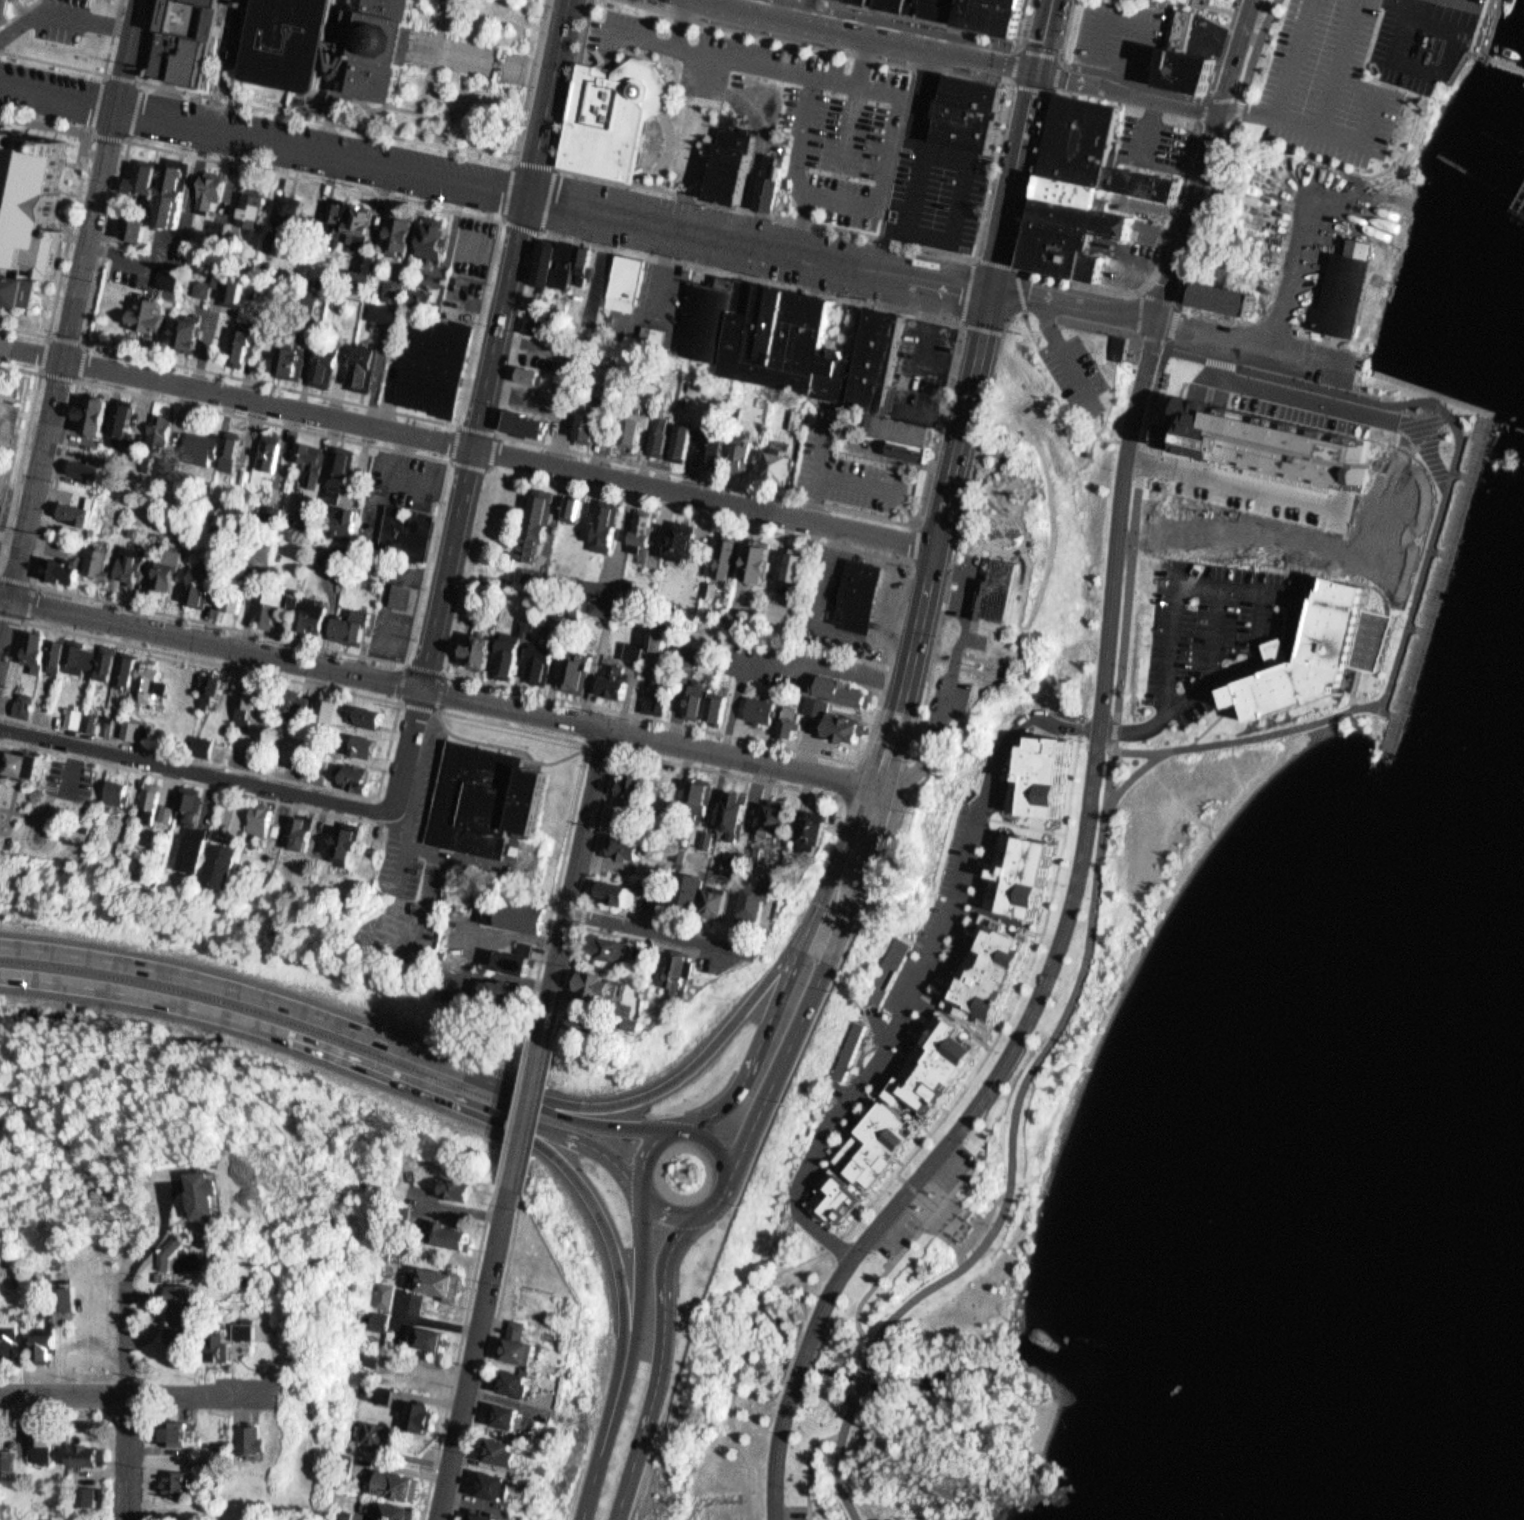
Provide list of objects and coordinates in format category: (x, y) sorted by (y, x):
building: (871, 0)
road: (733, 2)
building: (901, 2)
building: (943, 6)
road: (1214, 7)
building: (6, 11)
building: (1000, 13)
road: (952, 23)
road: (1068, 29)
road: (1399, 30)
road: (877, 35)
building: (188, 40)
building: (295, 41)
parking lot: (1425, 41)
road: (1022, 44)
building: (392, 45)
road: (1014, 47)
road: (1223, 51)
road: (1254, 54)
road: (484, 59)
building: (1188, 60)
pier: (1503, 61)
road: (88, 69)
road: (432, 70)
traffic signals: (1039, 71)
parking lot: (1326, 85)
road: (1033, 86)
road: (1285, 90)
road: (1127, 91)
road: (386, 104)
building: (614, 111)
building: (972, 112)
road: (1205, 112)
road: (366, 129)
building: (1083, 139)
road: (127, 140)
road: (1202, 158)
building: (734, 162)
building: (136, 172)
road: (1038, 175)
building: (146, 179)
building: (769, 180)
building: (205, 183)
building: (1147, 185)
road: (496, 188)
building: (1075, 188)
building: (164, 189)
building: (213, 190)
building: (176, 195)
building: (246, 199)
building: (35, 201)
building: (254, 206)
building: (282, 206)
road: (73, 213)
building: (331, 215)
building: (350, 215)
building: (1089, 216)
building: (129, 223)
building: (361, 226)
road: (539, 228)
building: (397, 236)
building: (433, 236)
building: (1068, 250)
road: (959, 253)
building: (547, 264)
building: (576, 267)
road: (1293, 270)
building: (354, 271)
building: (162, 272)
building: (170, 279)
building: (224, 281)
building: (625, 282)
building: (198, 284)
building: (20, 289)
building: (392, 291)
building: (1347, 293)
building: (1227, 296)
road: (72, 298)
road: (1076, 302)
building: (382, 308)
road: (1140, 310)
building: (140, 311)
building: (712, 314)
road: (961, 319)
road: (960, 323)
building: (180, 326)
building: (535, 326)
building: (190, 333)
building: (235, 335)
building: (782, 335)
building: (653, 340)
road: (1252, 340)
road: (496, 343)
building: (243, 347)
road: (1058, 347)
building: (1120, 347)
building: (284, 354)
building: (318, 359)
building: (358, 359)
building: (879, 359)
parking lot: (1071, 362)
building: (435, 365)
building: (366, 367)
road: (1241, 367)
building: (837, 370)
road: (1049, 371)
building: (531, 373)
road: (78, 379)
road: (970, 394)
road: (1276, 396)
building: (89, 407)
road: (1092, 415)
building: (580, 416)
building: (115, 419)
building: (525, 421)
building: (592, 421)
building: (626, 421)
building: (124, 423)
road: (458, 423)
building: (153, 425)
building: (639, 427)
building: (657, 427)
building: (908, 430)
building: (677, 434)
building: (664, 436)
building: (707, 439)
building: (197, 440)
building: (685, 440)
road: (23, 442)
building: (224, 444)
road: (468, 445)
building: (718, 447)
building: (734, 449)
building: (263, 450)
building: (913, 451)
building: (231, 452)
building: (306, 456)
building: (336, 459)
building: (770, 461)
building: (81, 463)
building: (783, 465)
road: (487, 467)
building: (167, 468)
road: (1232, 481)
road: (1450, 482)
building: (287, 483)
building: (69, 505)
road: (1050, 507)
building: (571, 508)
road: (1004, 508)
building: (606, 518)
building: (341, 520)
building: (536, 524)
building: (401, 526)
building: (642, 530)
building: (686, 538)
road: (913, 541)
road: (993, 547)
building: (125, 557)
building: (728, 557)
building: (90, 558)
building: (335, 560)
road: (909, 560)
building: (163, 562)
building: (761, 562)
building: (53, 564)
building: (798, 573)
building: (557, 578)
building: (193, 581)
building: (629, 583)
building: (396, 589)
building: (601, 589)
building: (710, 589)
building: (1007, 589)
building: (860, 593)
building: (403, 594)
building: (226, 596)
road: (28, 598)
building: (235, 600)
building: (605, 607)
building: (261, 609)
building: (272, 612)
building: (303, 612)
building: (782, 615)
road: (4, 618)
building: (345, 623)
building: (736, 623)
parking lot: (1230, 631)
building: (656, 638)
road: (209, 640)
building: (29, 648)
building: (512, 649)
building: (482, 650)
building: (49, 651)
building: (633, 651)
building: (1330, 651)
building: (71, 654)
building: (57, 656)
building: (98, 659)
building: (542, 660)
road: (405, 662)
building: (119, 666)
building: (579, 671)
building: (1159, 678)
building: (141, 679)
building: (614, 681)
building: (205, 686)
building: (215, 687)
building: (843, 691)
building: (656, 697)
building: (698, 698)
building: (241, 699)
building: (289, 699)
building: (18, 700)
road: (398, 701)
building: (25, 705)
building: (250, 706)
building: (818, 706)
building: (322, 707)
building: (719, 708)
road: (435, 709)
building: (762, 710)
building: (66, 712)
building: (362, 712)
building: (376, 714)
building: (83, 717)
building: (103, 721)
building: (93, 722)
building: (790, 723)
road: (2, 724)
building: (125, 726)
building: (846, 727)
building: (110, 728)
road: (1149, 728)
building: (136, 729)
road: (649, 737)
road: (1256, 738)
building: (197, 739)
building: (353, 740)
building: (366, 746)
road: (604, 746)
road: (407, 748)
building: (13, 761)
road: (1110, 767)
road: (196, 769)
building: (350, 773)
road: (1133, 778)
road: (849, 779)
road: (187, 780)
building: (108, 788)
building: (640, 791)
building: (122, 792)
road: (610, 798)
building: (701, 798)
building: (143, 799)
building: (492, 801)
road: (876, 802)
road: (376, 808)
building: (160, 809)
building: (738, 813)
road: (573, 814)
building: (255, 815)
building: (779, 818)
building: (267, 821)
building: (625, 822)
building: (186, 825)
building: (294, 829)
building: (199, 831)
building: (309, 833)
building: (816, 836)
building: (337, 839)
building: (351, 844)
building: (628, 847)
building: (214, 859)
road: (885, 861)
road: (1080, 865)
building: (231, 867)
building: (730, 869)
road: (576, 884)
building: (621, 892)
building: (691, 892)
road: (582, 902)
building: (721, 904)
building: (758, 904)
building: (492, 912)
building: (522, 915)
road: (652, 928)
building: (611, 947)
building: (962, 947)
building: (648, 955)
building: (520, 958)
road: (925, 968)
building: (984, 970)
building: (685, 971)
building: (888, 971)
road: (793, 980)
building: (595, 984)
road: (569, 987)
road: (814, 999)
road: (243, 1021)
road: (341, 1022)
building: (582, 1024)
road: (997, 1039)
road: (709, 1046)
building: (852, 1047)
building: (932, 1063)
road: (517, 1110)
road: (527, 1113)
road: (540, 1120)
road: (716, 1135)
road: (566, 1136)
road: (1001, 1140)
building: (874, 1145)
road: (648, 1156)
building: (459, 1187)
road: (918, 1190)
building: (841, 1195)
building: (207, 1197)
parking lot: (918, 1207)
road: (973, 1212)
road: (601, 1214)
road: (698, 1214)
road: (166, 1232)
building: (451, 1234)
road: (953, 1238)
road: (904, 1250)
building: (171, 1251)
building: (441, 1284)
road: (642, 1286)
building: (390, 1293)
building: (68, 1296)
building: (179, 1311)
road: (757, 1316)
building: (384, 1322)
building: (522, 1329)
building: (247, 1331)
building: (49, 1335)
building: (433, 1340)
building: (11, 1342)
building: (222, 1349)
road: (459, 1350)
building: (522, 1351)
road: (474, 1353)
road: (491, 1355)
road: (279, 1357)
building: (375, 1358)
road: (663, 1364)
road: (799, 1365)
road: (858, 1380)
building: (523, 1382)
road: (129, 1389)
building: (382, 1392)
road: (134, 1393)
building: (420, 1417)
building: (509, 1417)
road: (728, 1420)
building: (180, 1433)
building: (375, 1434)
building: (253, 1441)
building: (47, 1444)
road: (601, 1449)
building: (504, 1452)
building: (87, 1454)
road: (775, 1455)
road: (839, 1463)
road: (809, 1468)
building: (177, 1484)
building: (397, 1485)
building: (502, 1486)
building: (87, 1497)
road: (751, 1505)
parking lot: (793, 1511)
building: (397, 1512)
building: (347, 1513)
building: (483, 1517)

